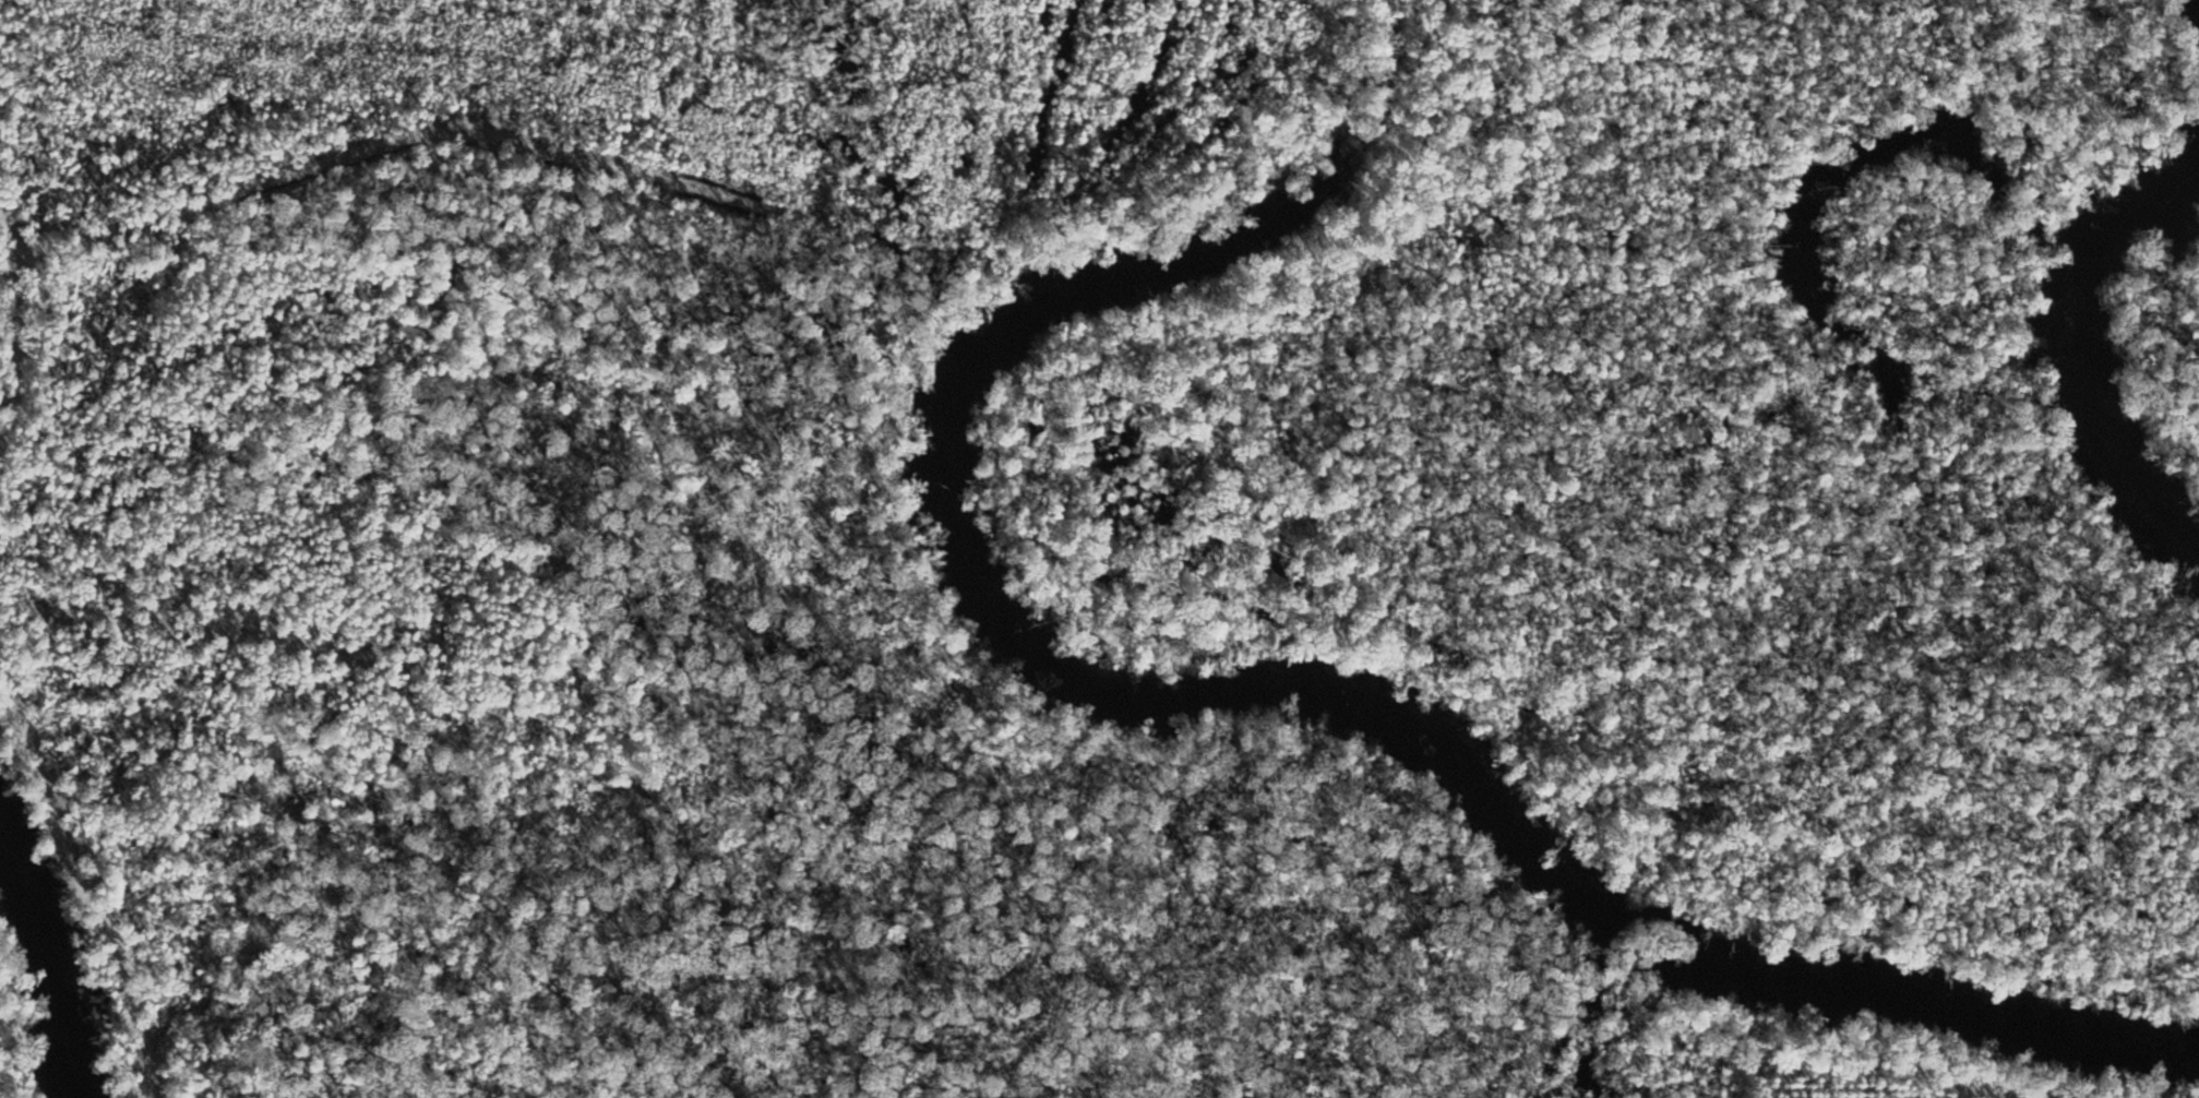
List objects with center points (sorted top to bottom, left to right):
river: (59, 950)
airport: (10, 1051)

